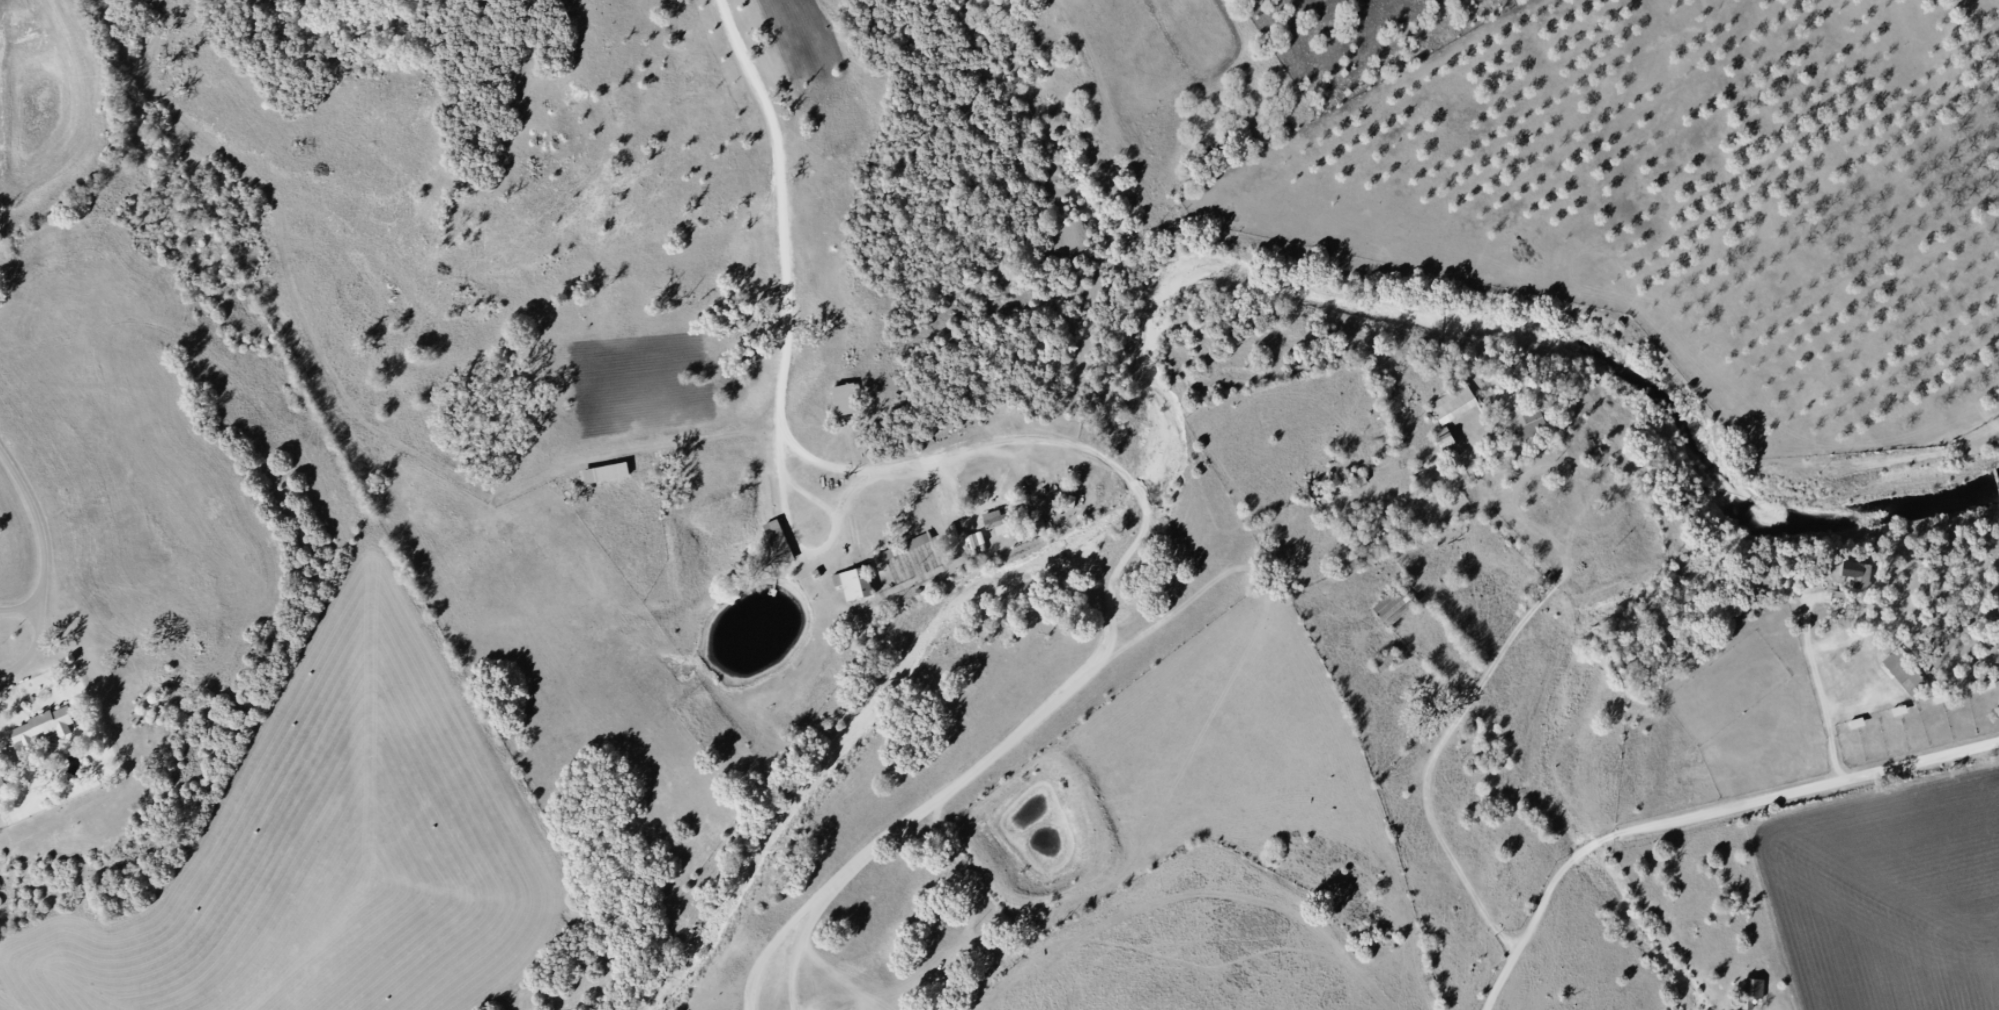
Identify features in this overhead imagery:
building: (846, 401)
building: (1454, 405)
building: (1527, 423)
building: (1445, 441)
building: (605, 474)
building: (999, 522)
building: (781, 547)
building: (903, 548)
building: (1862, 577)
building: (854, 584)
building: (1395, 608)
building: (1387, 661)
building: (1905, 674)
building: (42, 729)
building: (2, 787)
road: (1699, 814)
building: (1752, 993)

